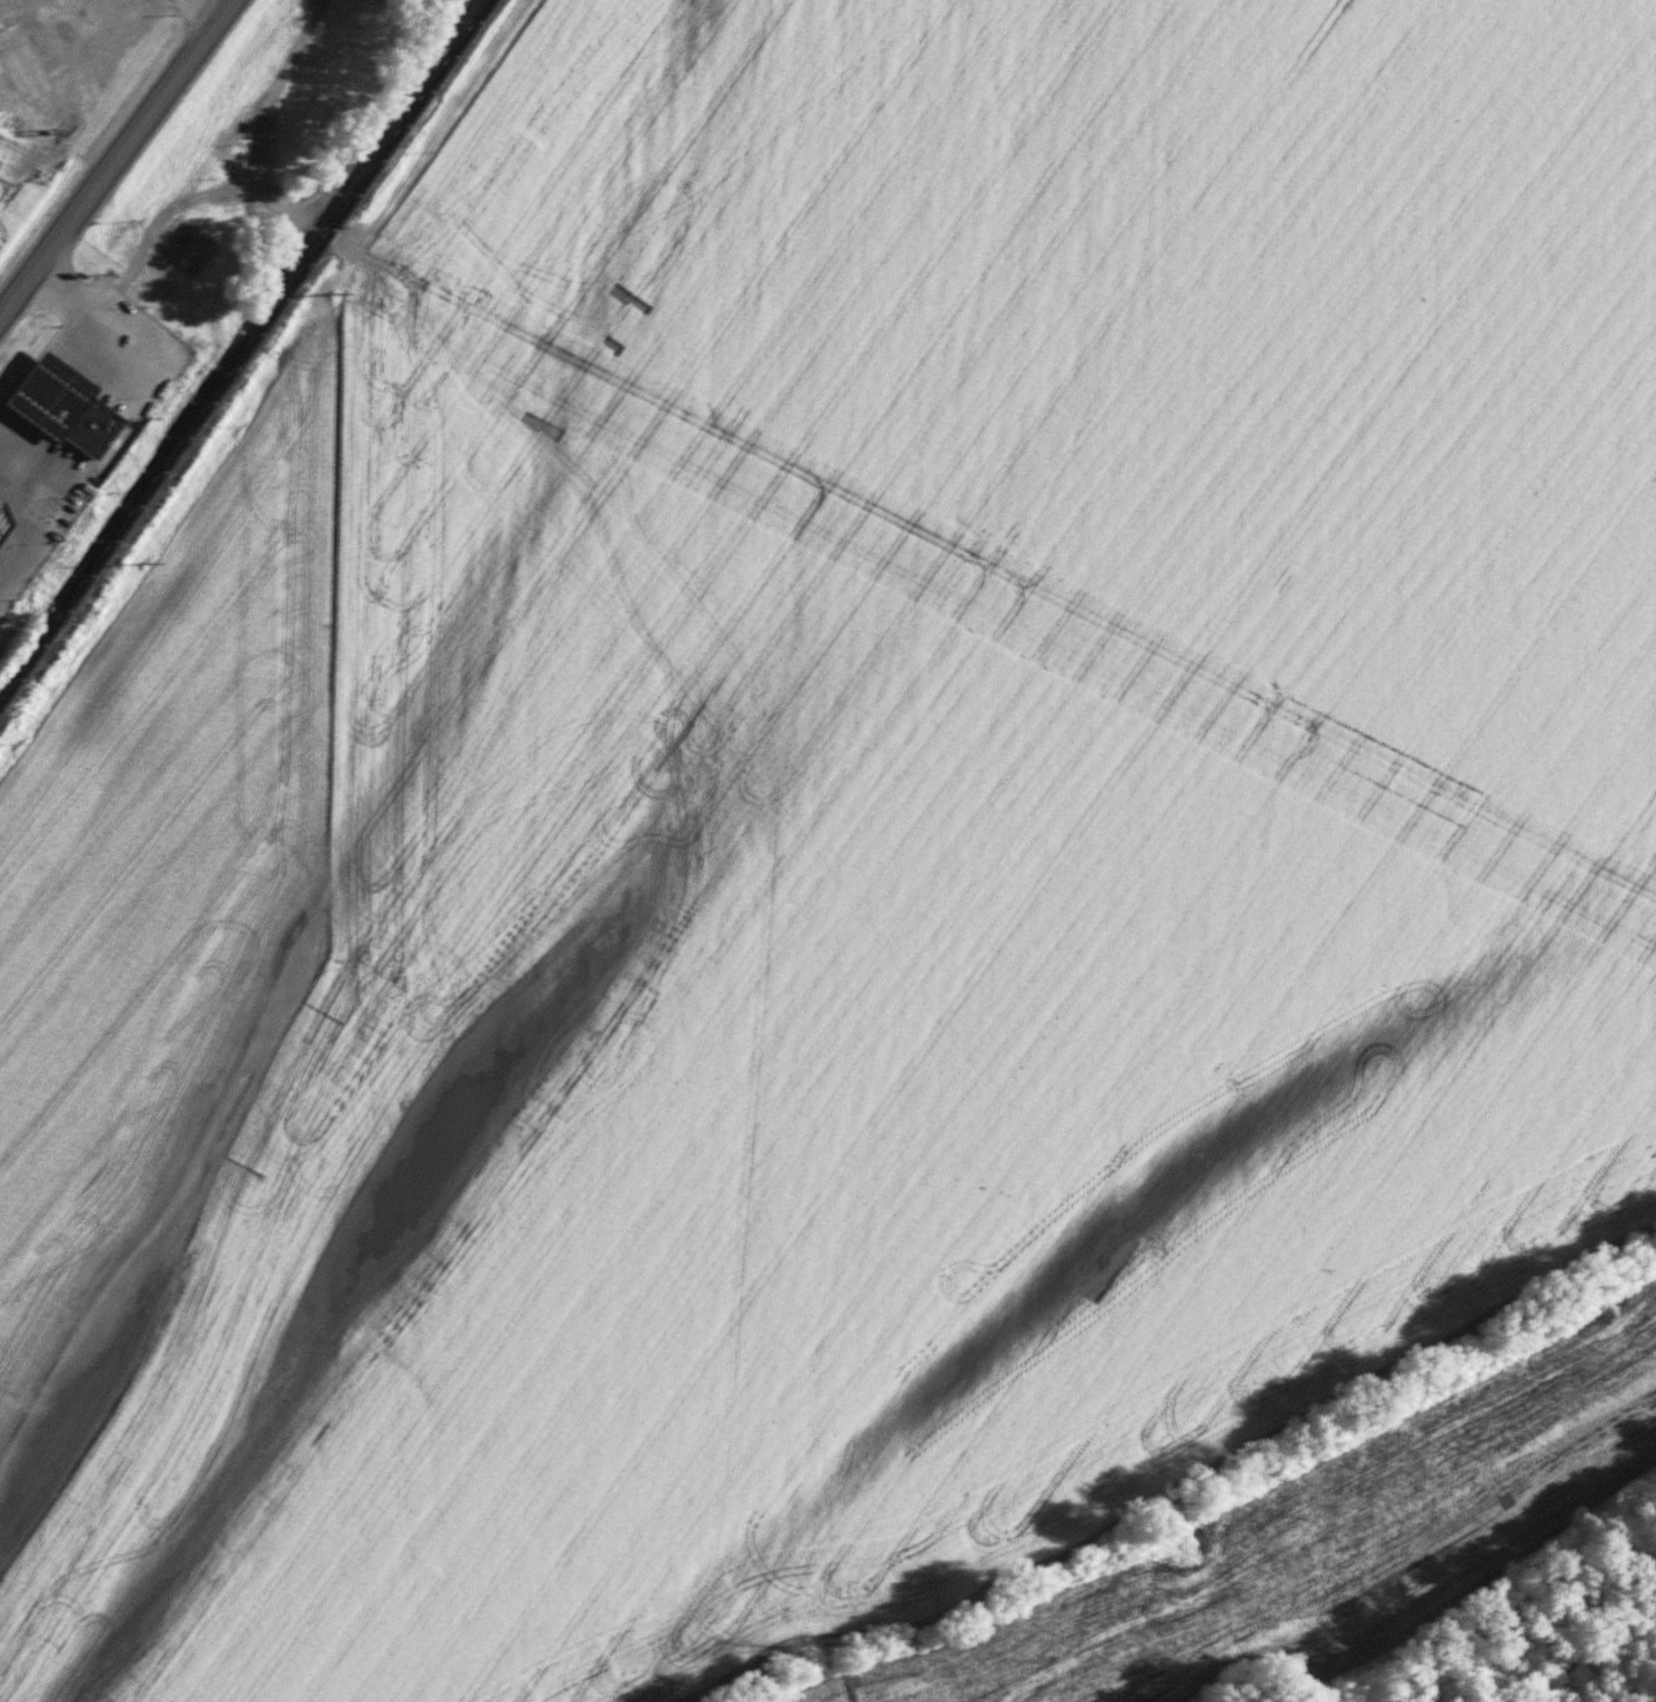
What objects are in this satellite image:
road: (116, 157)
railway: (244, 351)

